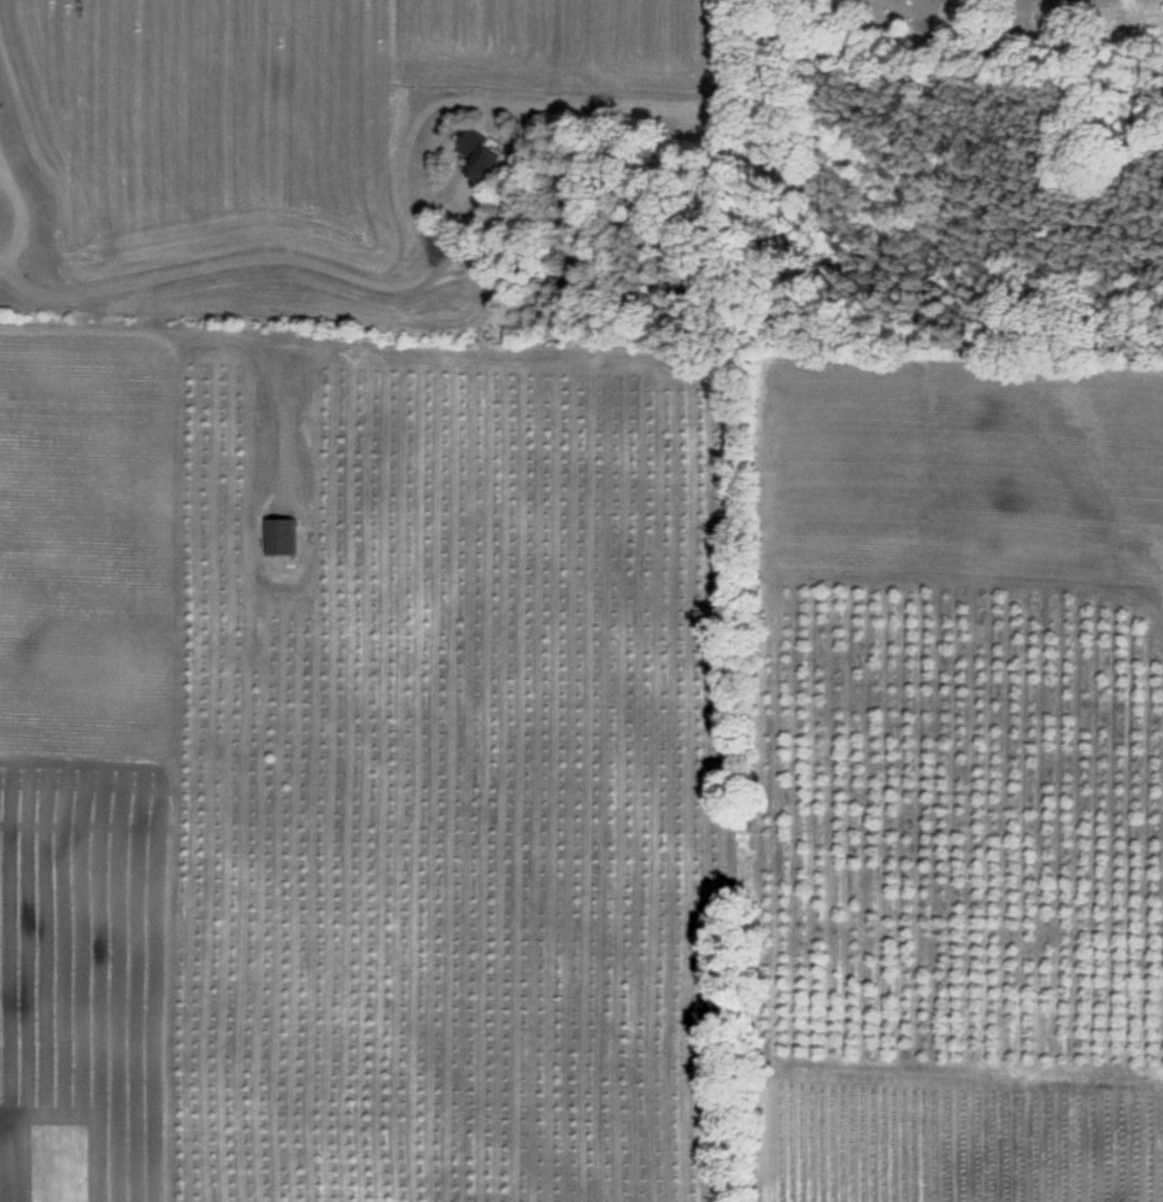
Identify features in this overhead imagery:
building: (482, 157)
road: (174, 271)
building: (283, 539)

